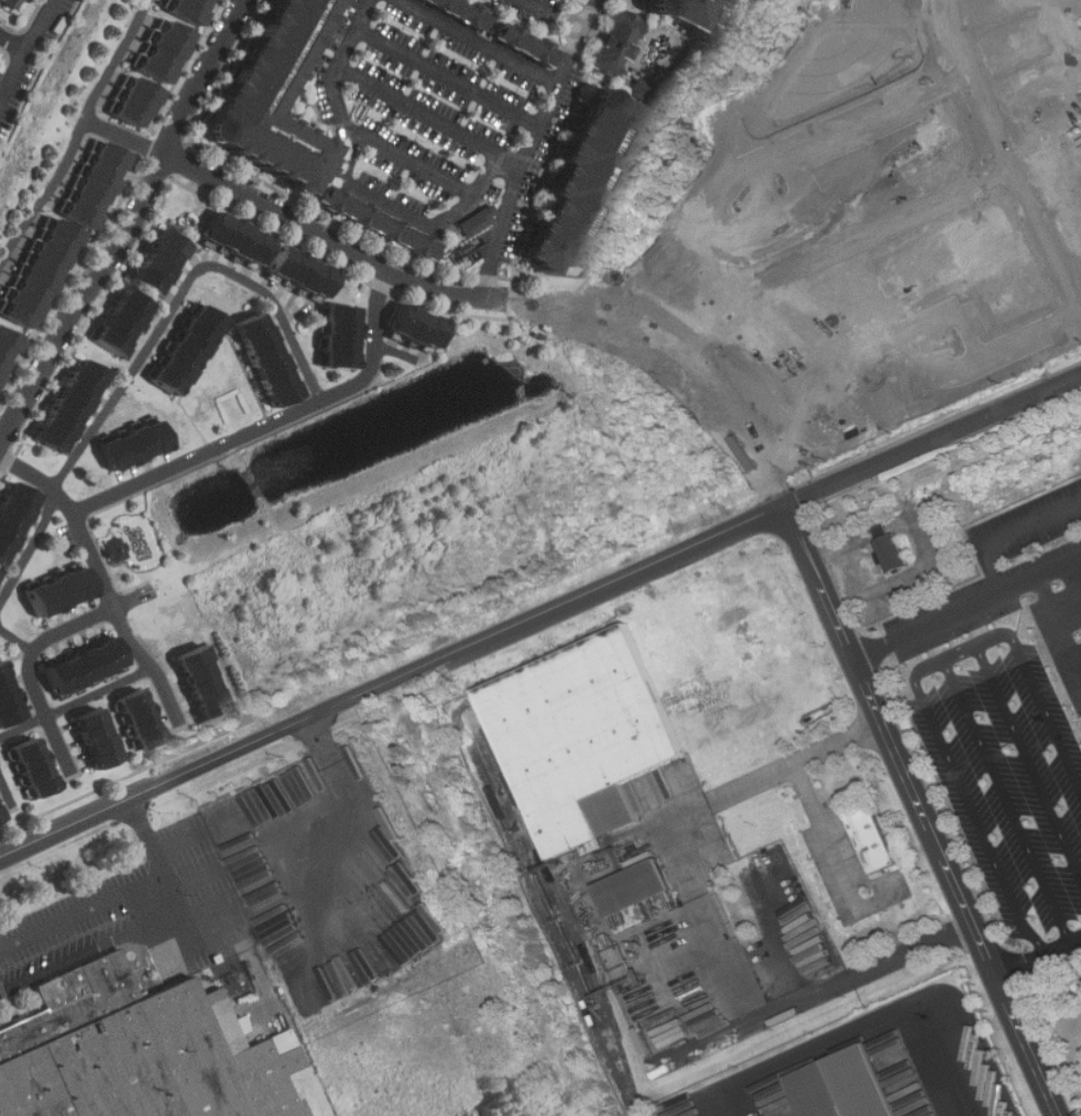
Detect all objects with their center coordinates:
building: (588, 0)
building: (12, 1)
building: (193, 9)
building: (684, 11)
parking lot: (533, 12)
road: (554, 15)
building: (500, 30)
road: (481, 40)
building: (616, 42)
road: (14, 43)
building: (167, 52)
road: (28, 53)
building: (1027, 74)
road: (449, 76)
road: (332, 88)
building: (637, 89)
building: (277, 98)
building: (141, 105)
parking lot: (434, 109)
road: (430, 117)
road: (823, 121)
road: (132, 140)
road: (83, 145)
road: (532, 145)
building: (877, 149)
road: (1003, 155)
road: (412, 162)
building: (1062, 183)
building: (582, 185)
building: (97, 187)
building: (478, 221)
building: (382, 223)
road: (441, 223)
road: (133, 227)
building: (754, 228)
building: (240, 241)
road: (840, 241)
road: (332, 242)
building: (951, 260)
building: (162, 265)
building: (39, 274)
building: (303, 274)
road: (181, 297)
road: (1077, 307)
building: (123, 327)
building: (416, 328)
building: (338, 340)
road: (690, 343)
building: (4, 346)
building: (795, 347)
road: (979, 348)
road: (211, 349)
building: (184, 351)
building: (267, 361)
building: (68, 408)
road: (271, 424)
road: (4, 425)
building: (133, 447)
building: (12, 517)
road: (1008, 535)
road: (32, 548)
building: (111, 548)
building: (900, 550)
road: (100, 577)
building: (58, 594)
road: (967, 612)
road: (539, 615)
road: (17, 639)
road: (35, 647)
road: (962, 653)
building: (85, 666)
building: (200, 682)
road: (1039, 694)
building: (8, 701)
road: (77, 703)
building: (142, 719)
building: (589, 726)
building: (98, 738)
road: (1029, 762)
building: (33, 768)
road: (7, 791)
road: (970, 803)
road: (1009, 803)
road: (921, 811)
building: (1, 817)
road: (676, 817)
building: (871, 834)
road: (178, 839)
road: (832, 849)
road: (197, 879)
building: (640, 883)
road: (173, 895)
road: (121, 896)
road: (204, 905)
railway: (571, 918)
railway: (553, 931)
road: (777, 938)
road: (87, 951)
road: (1038, 960)
road: (814, 991)
road: (865, 1028)
building: (134, 1050)
building: (843, 1086)

